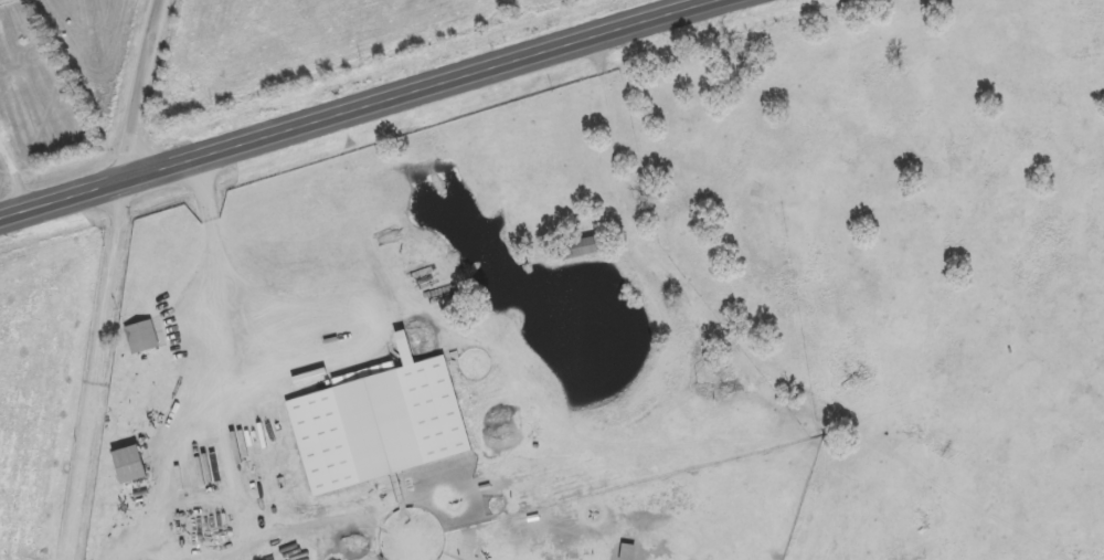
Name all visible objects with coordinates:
road: (144, 91)
road: (371, 112)
building: (588, 247)
building: (145, 338)
road: (106, 372)
building: (384, 425)
building: (134, 466)

